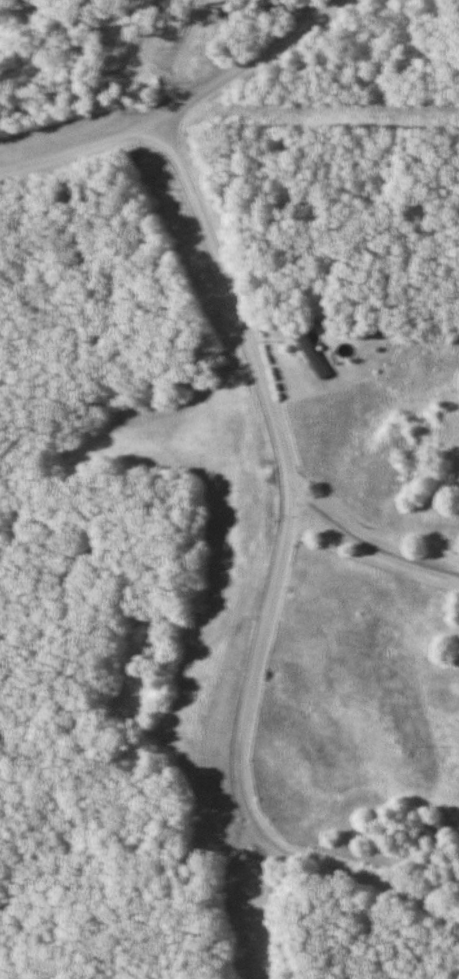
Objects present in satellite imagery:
road: (330, 99)
road: (182, 109)
road: (370, 541)
road: (273, 575)
road: (241, 898)

